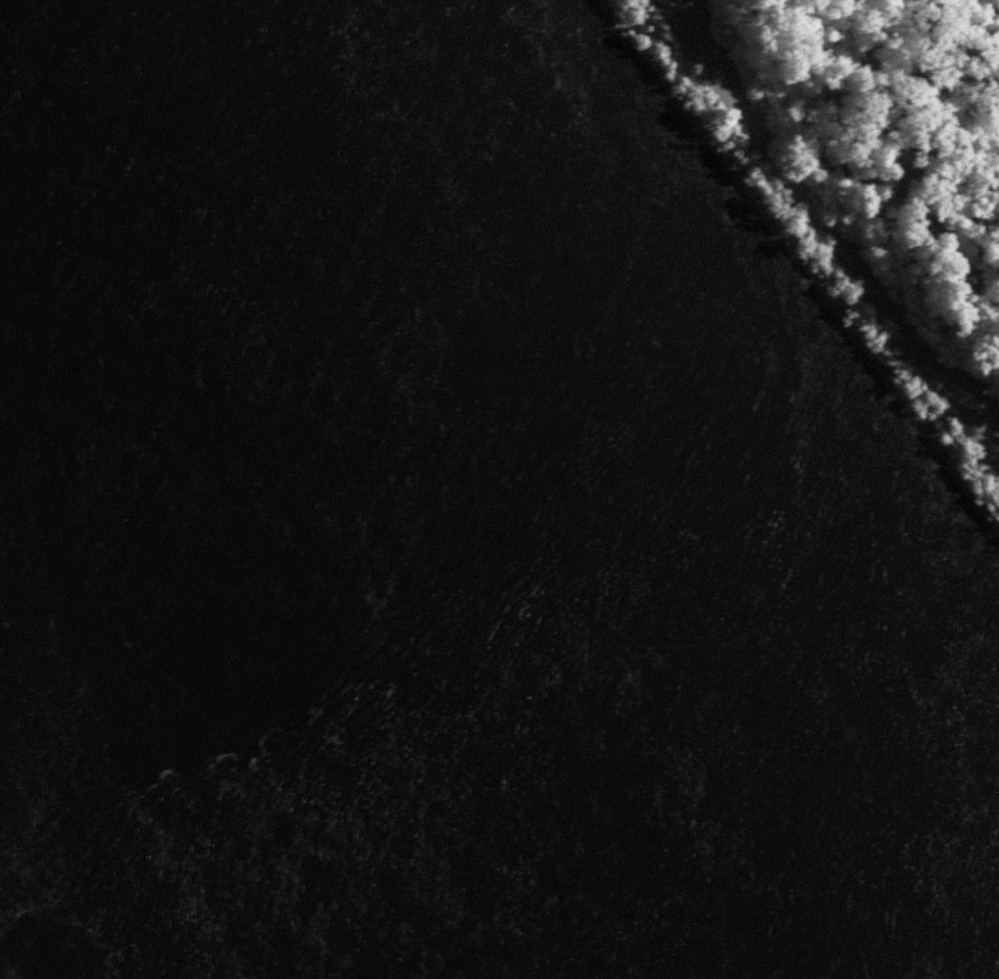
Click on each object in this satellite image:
river: (73, 833)
river: (163, 954)

